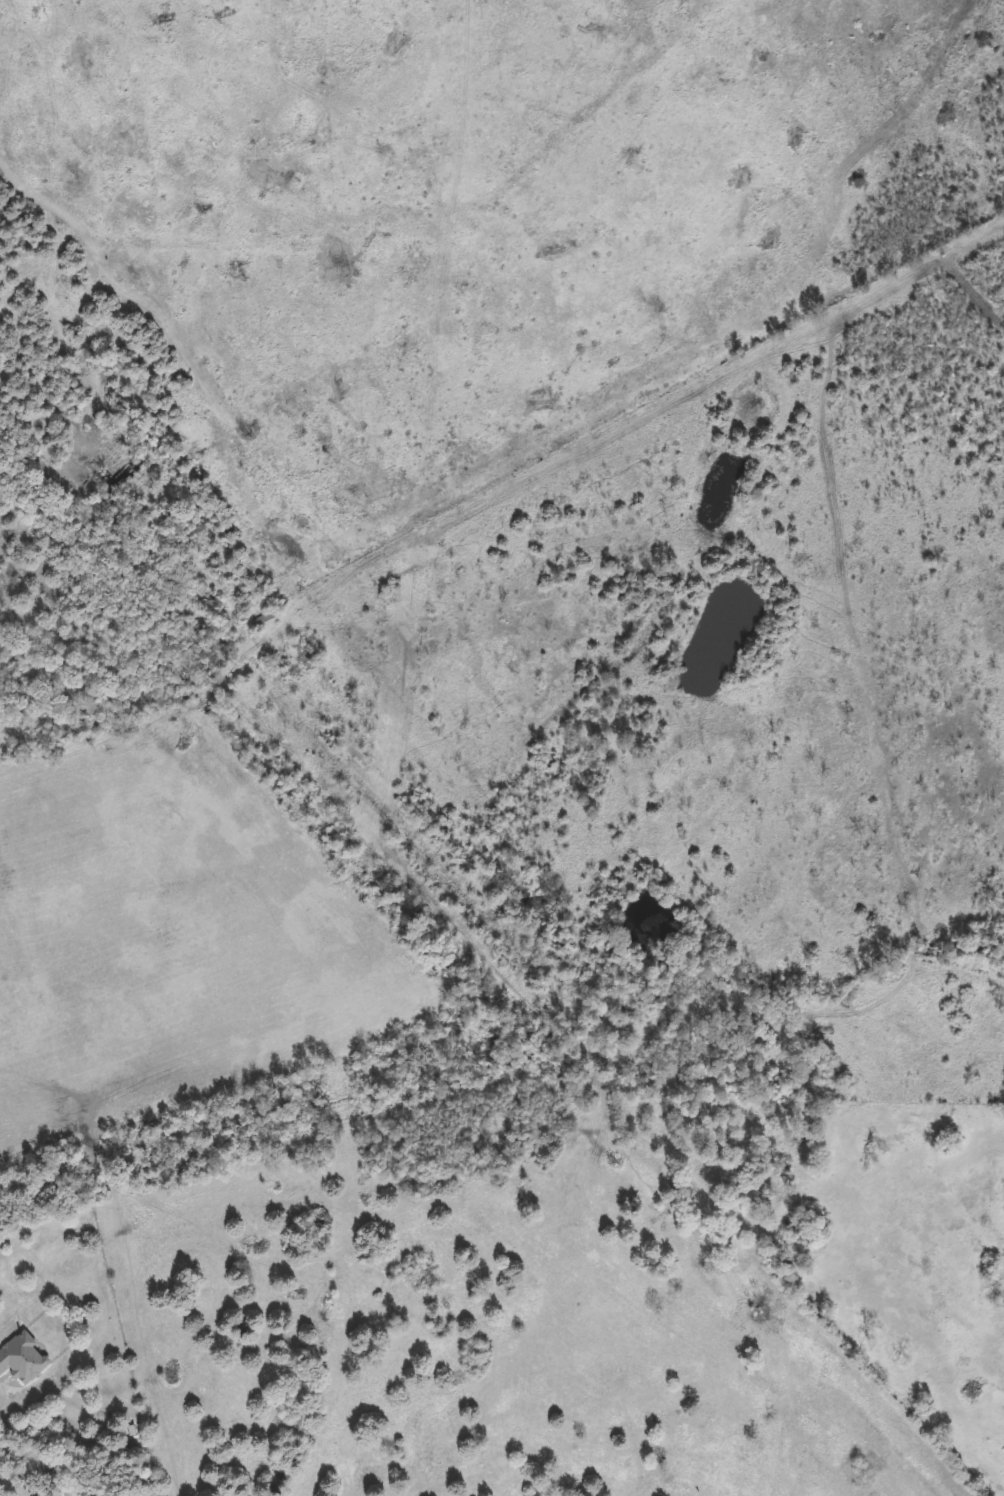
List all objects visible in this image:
building: (24, 1359)
road: (14, 1487)

